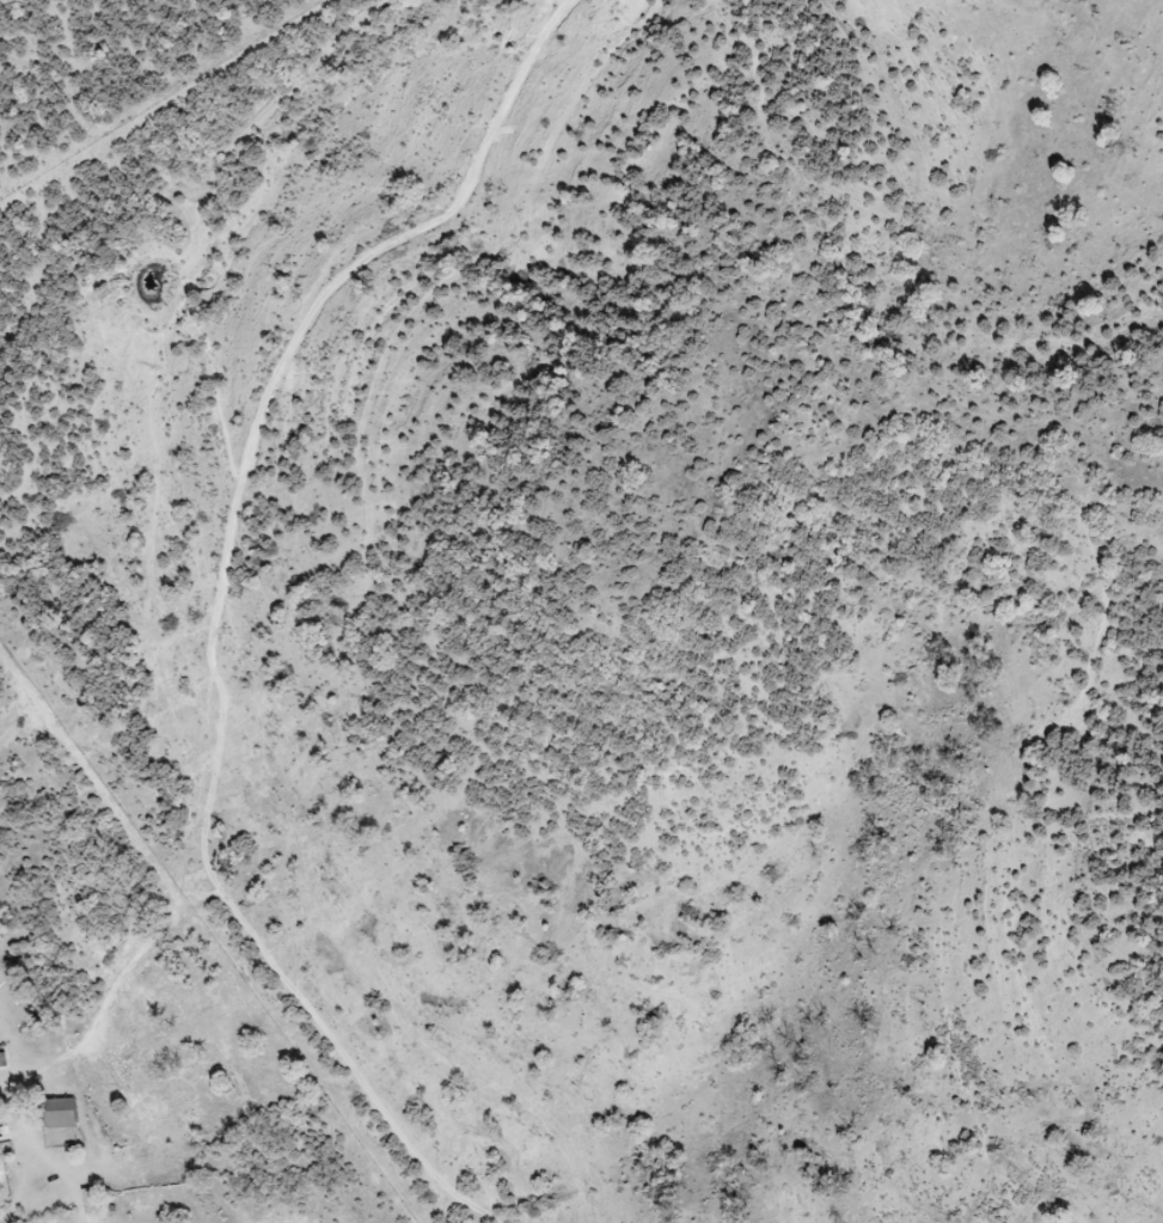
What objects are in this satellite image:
road: (177, 600)
building: (0, 1062)
building: (57, 1114)

